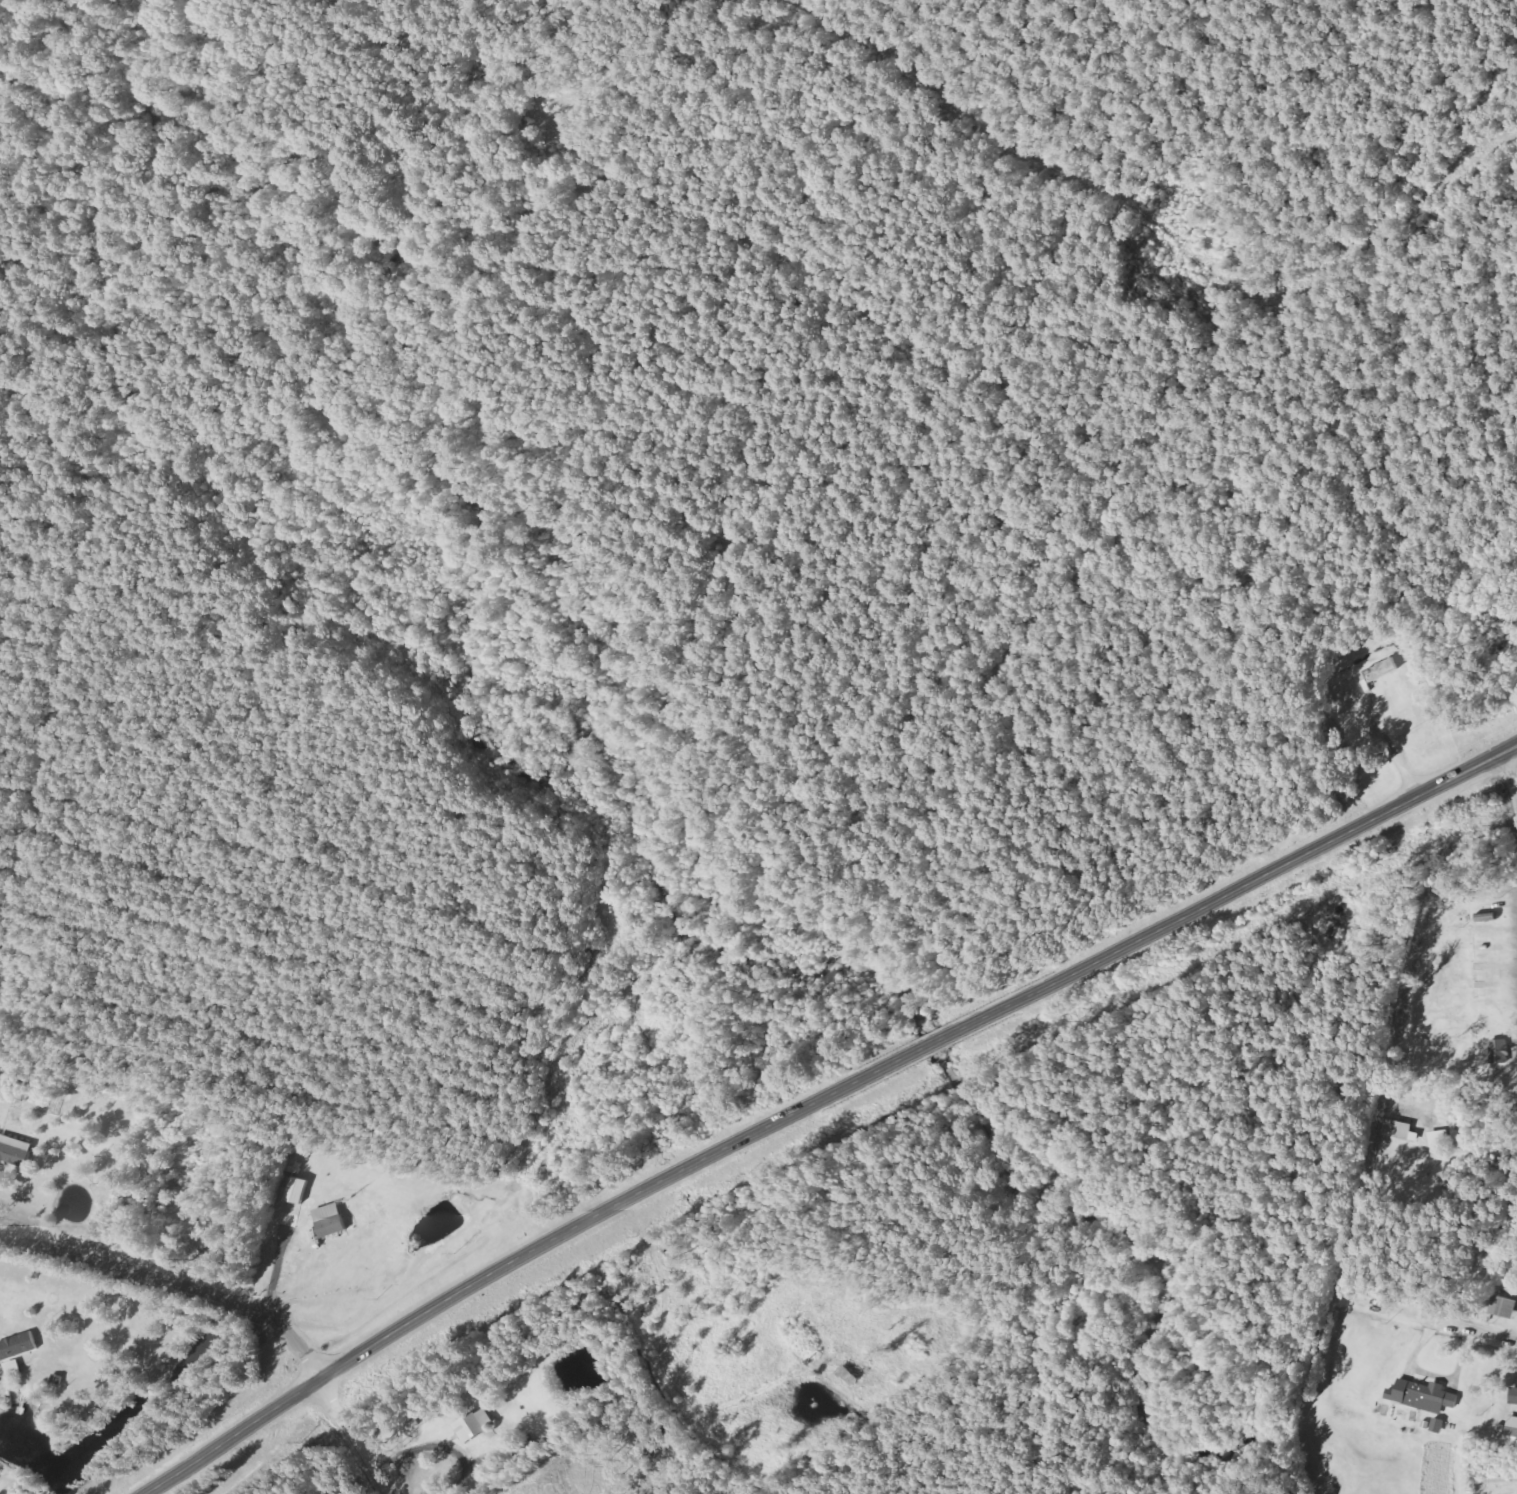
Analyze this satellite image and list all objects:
building: (1380, 670)
road: (1511, 884)
building: (1499, 1051)
road: (820, 1100)
building: (1398, 1130)
building: (1440, 1137)
building: (14, 1150)
building: (294, 1195)
building: (329, 1220)
road: (176, 1287)
building: (1504, 1307)
building: (18, 1345)
building: (1423, 1395)
building: (1513, 1396)
building: (474, 1424)
building: (1438, 1425)
building: (1511, 1431)
road: (360, 1434)

